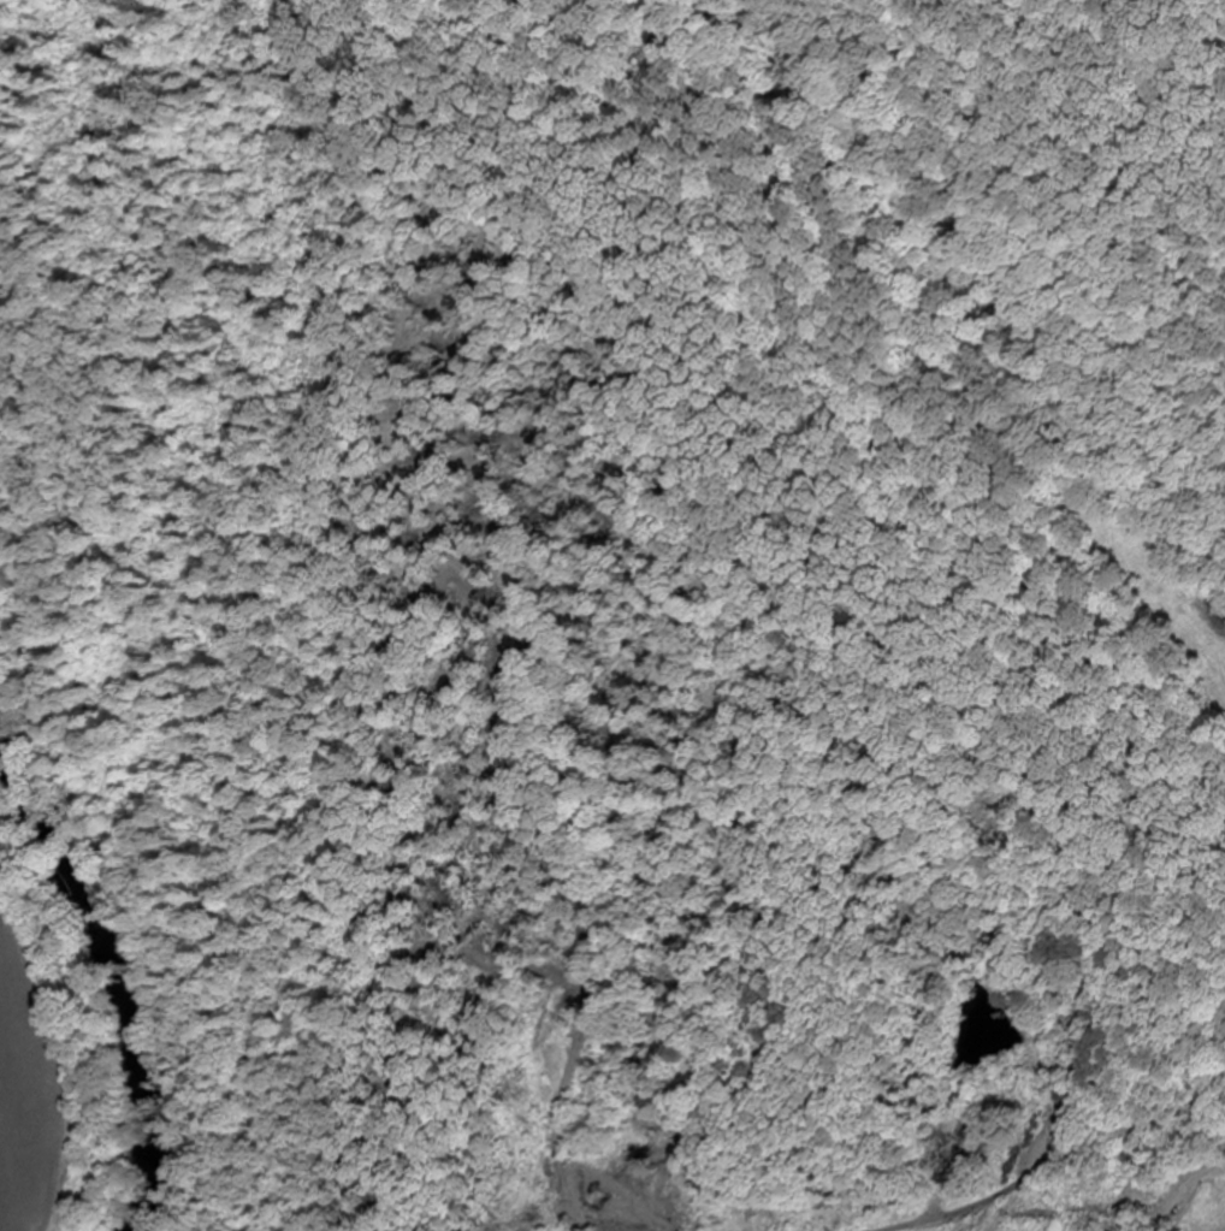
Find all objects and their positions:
building: (947, 1160)
road: (1058, 1165)

